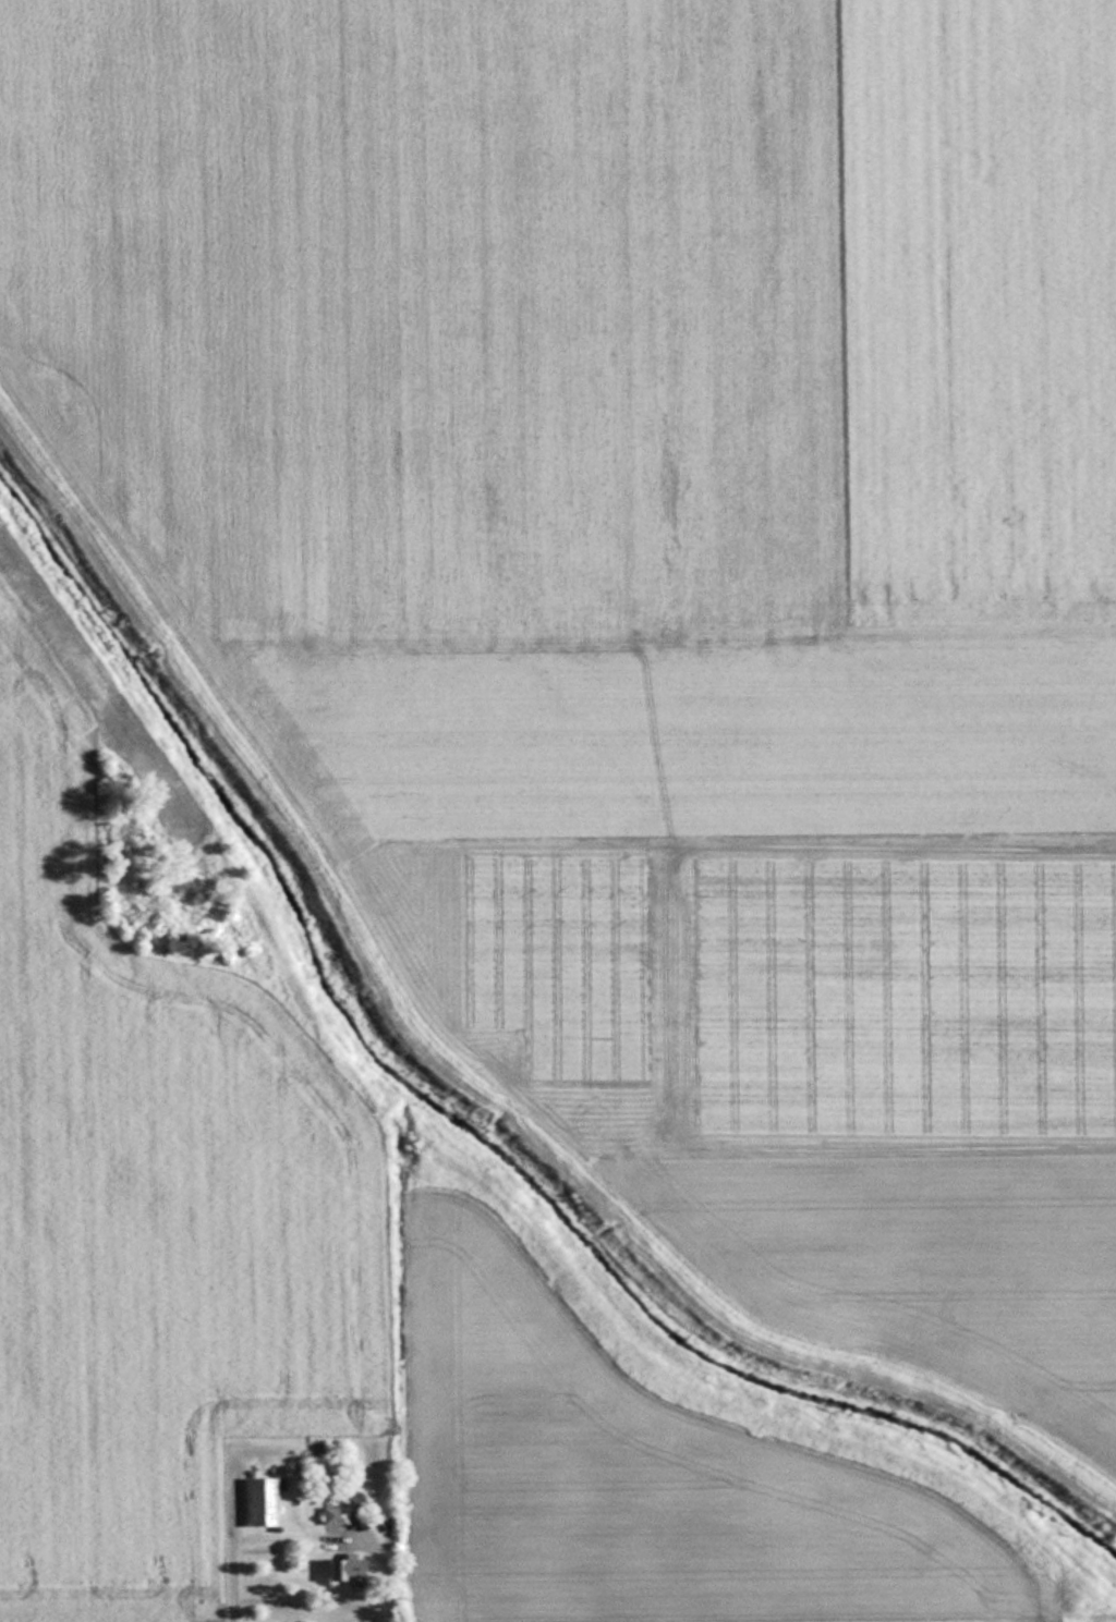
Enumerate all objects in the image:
building: (260, 1501)
building: (332, 1515)
building: (341, 1570)

